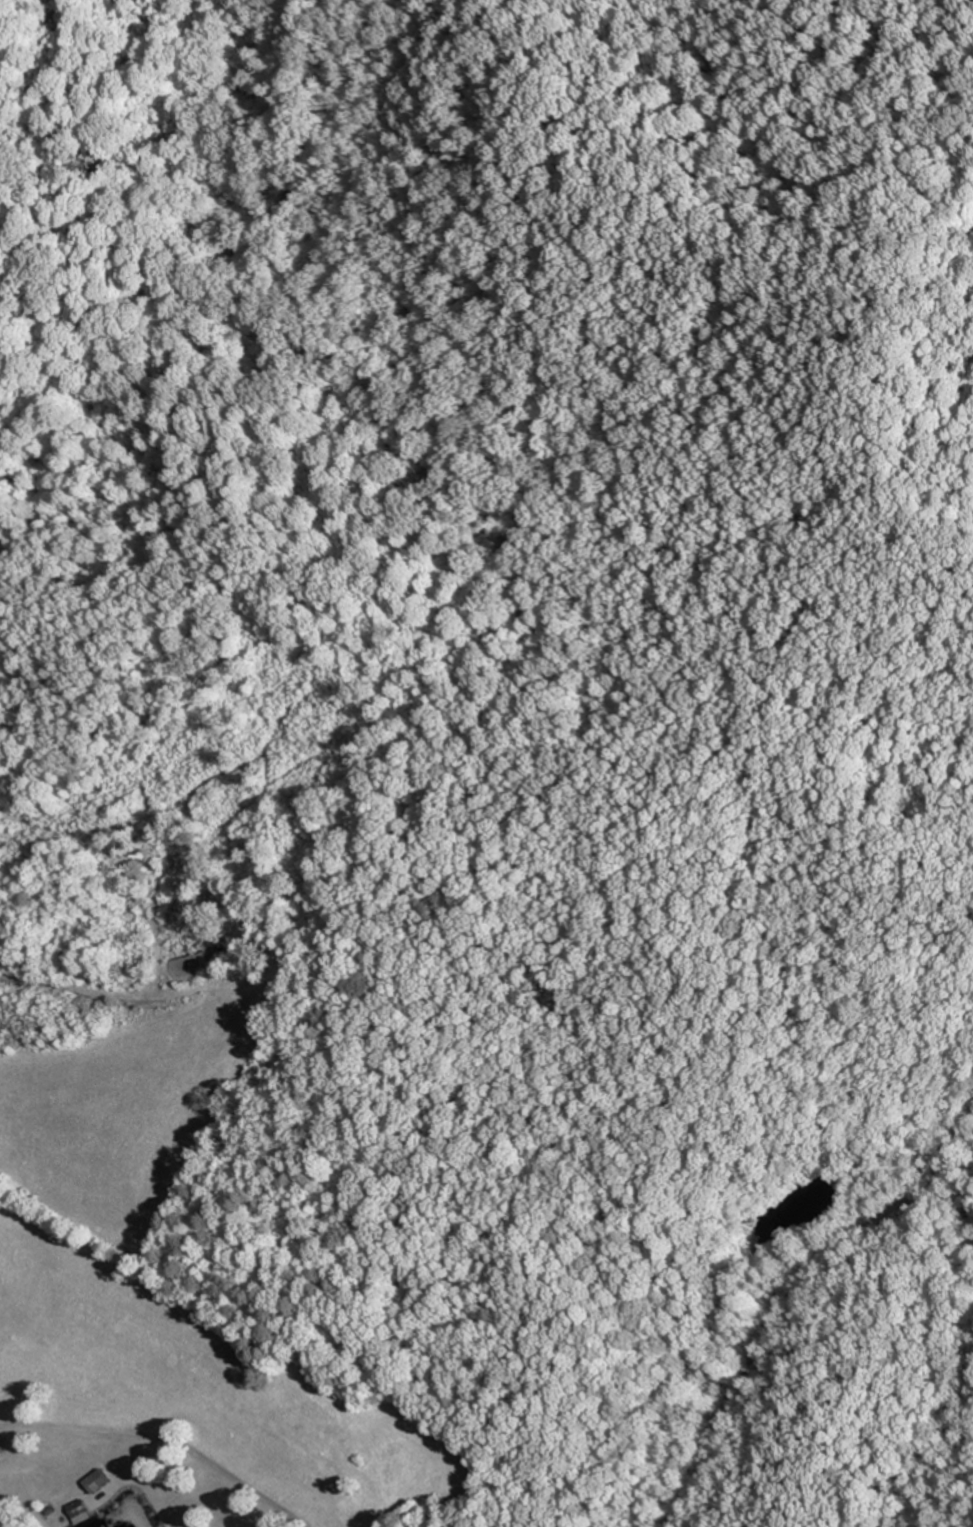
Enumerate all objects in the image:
building: (77, 1511)

